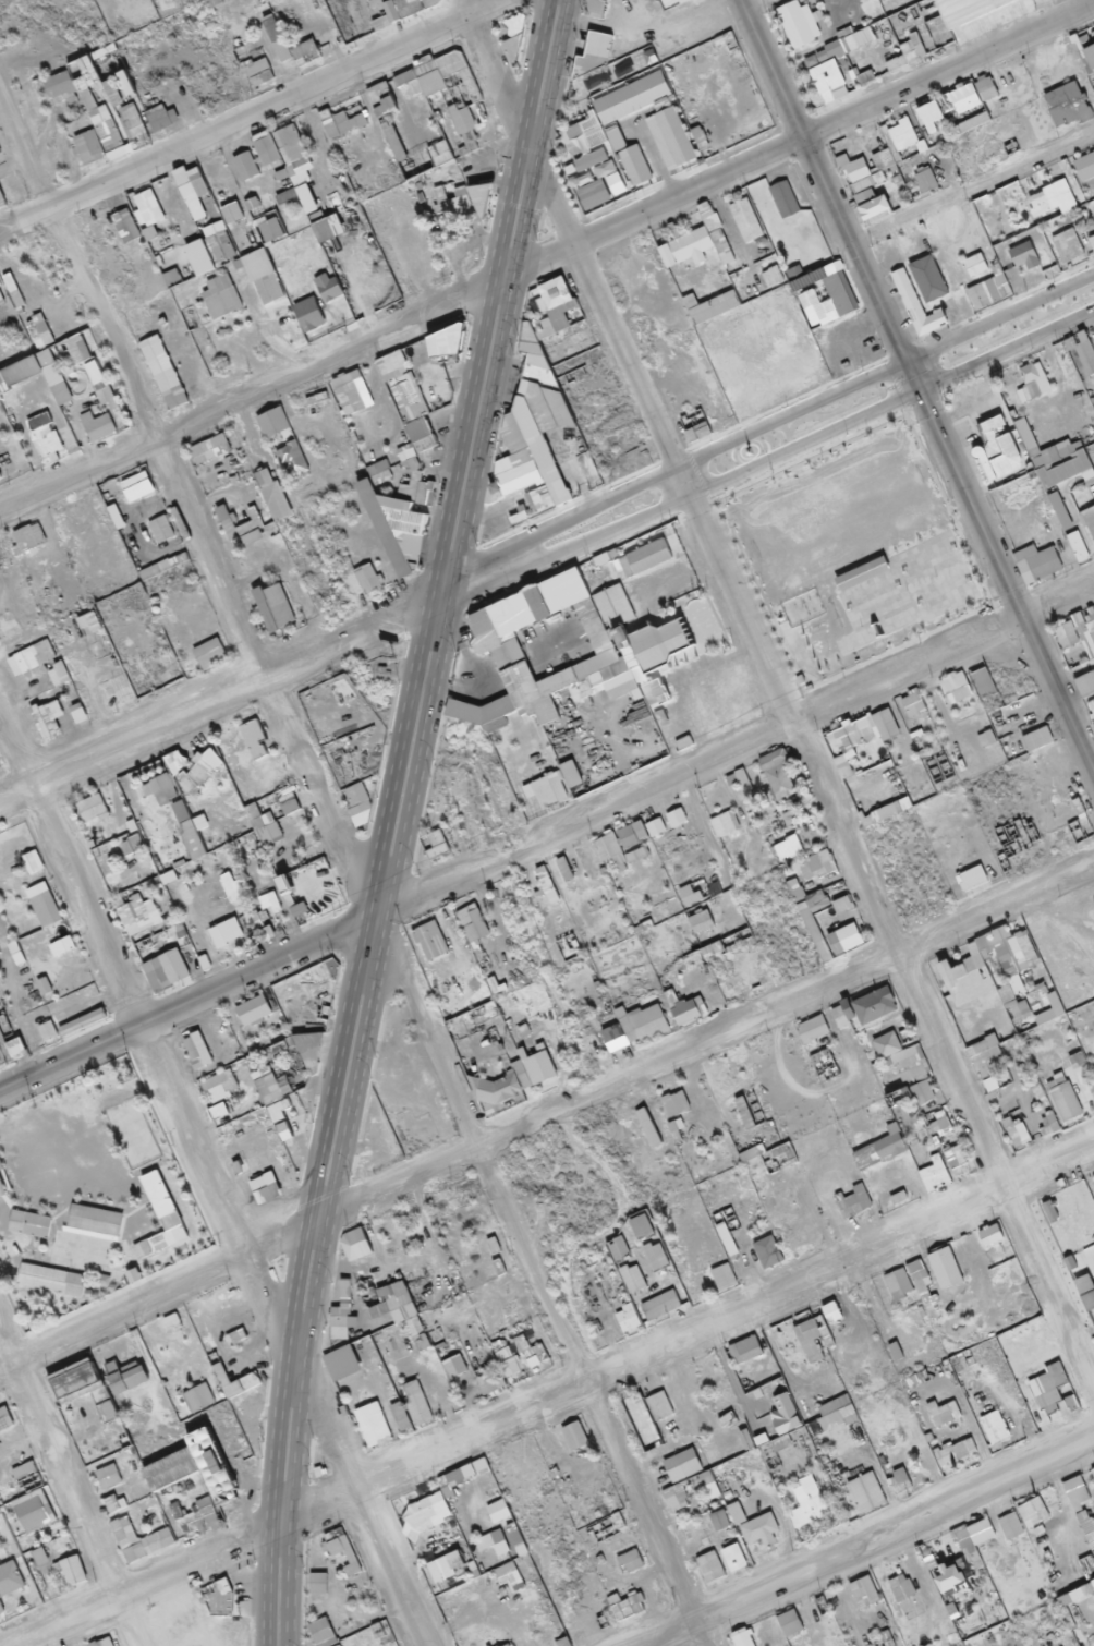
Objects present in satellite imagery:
road: (800, 137)
road: (767, 424)
road: (767, 460)
park: (855, 553)
road: (730, 748)
road: (706, 1042)
road: (686, 1340)

